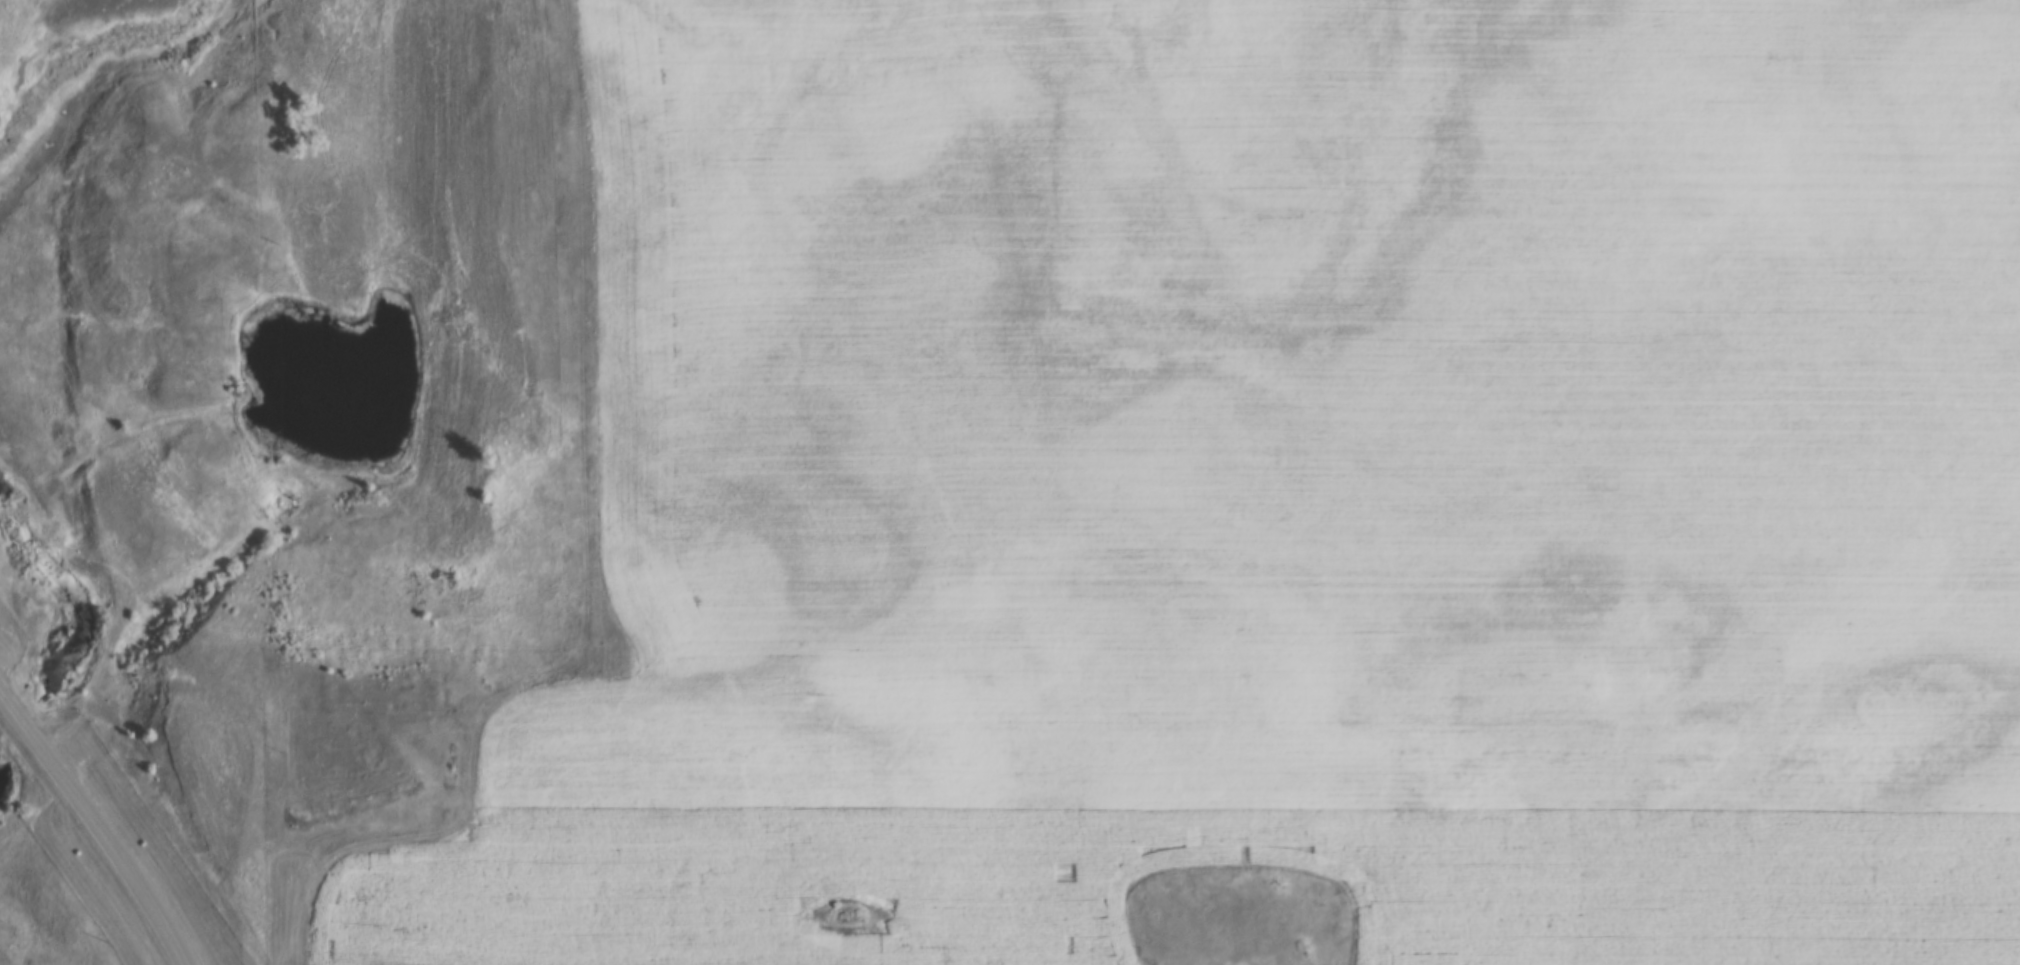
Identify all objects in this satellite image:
road: (97, 827)

